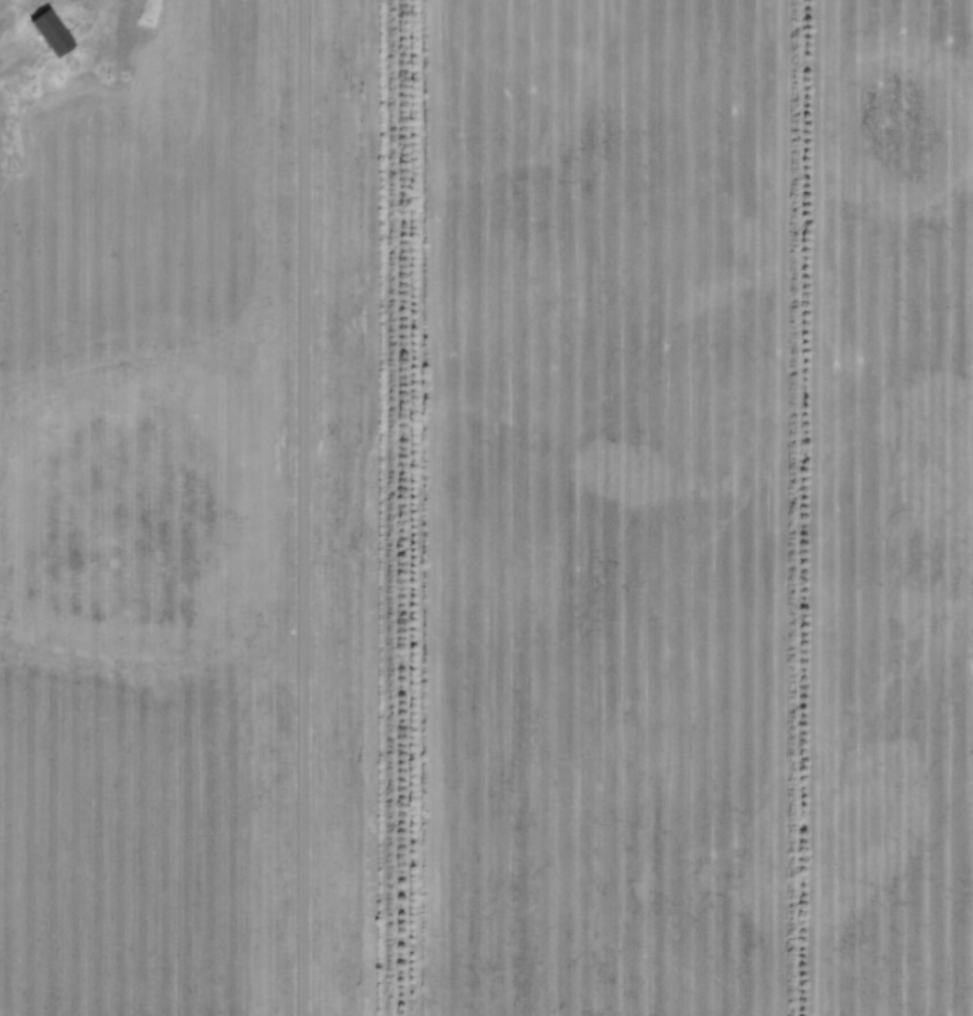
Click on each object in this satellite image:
road: (308, 507)

